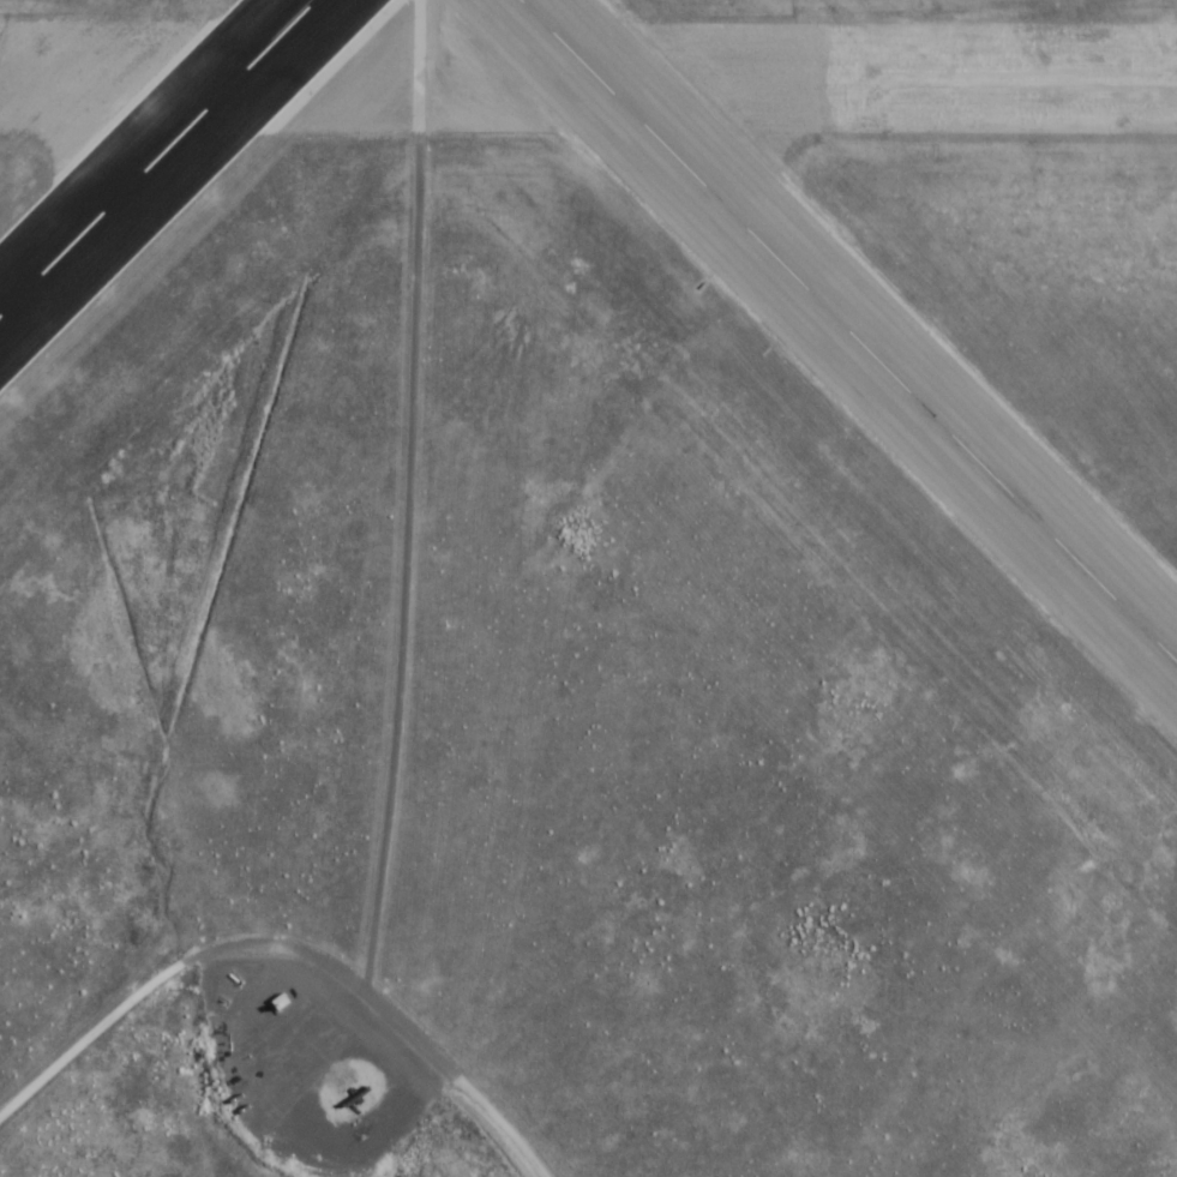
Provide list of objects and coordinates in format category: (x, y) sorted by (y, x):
airport runway: (158, 158)
airport runway: (847, 331)
airport: (588, 588)
road: (287, 947)

